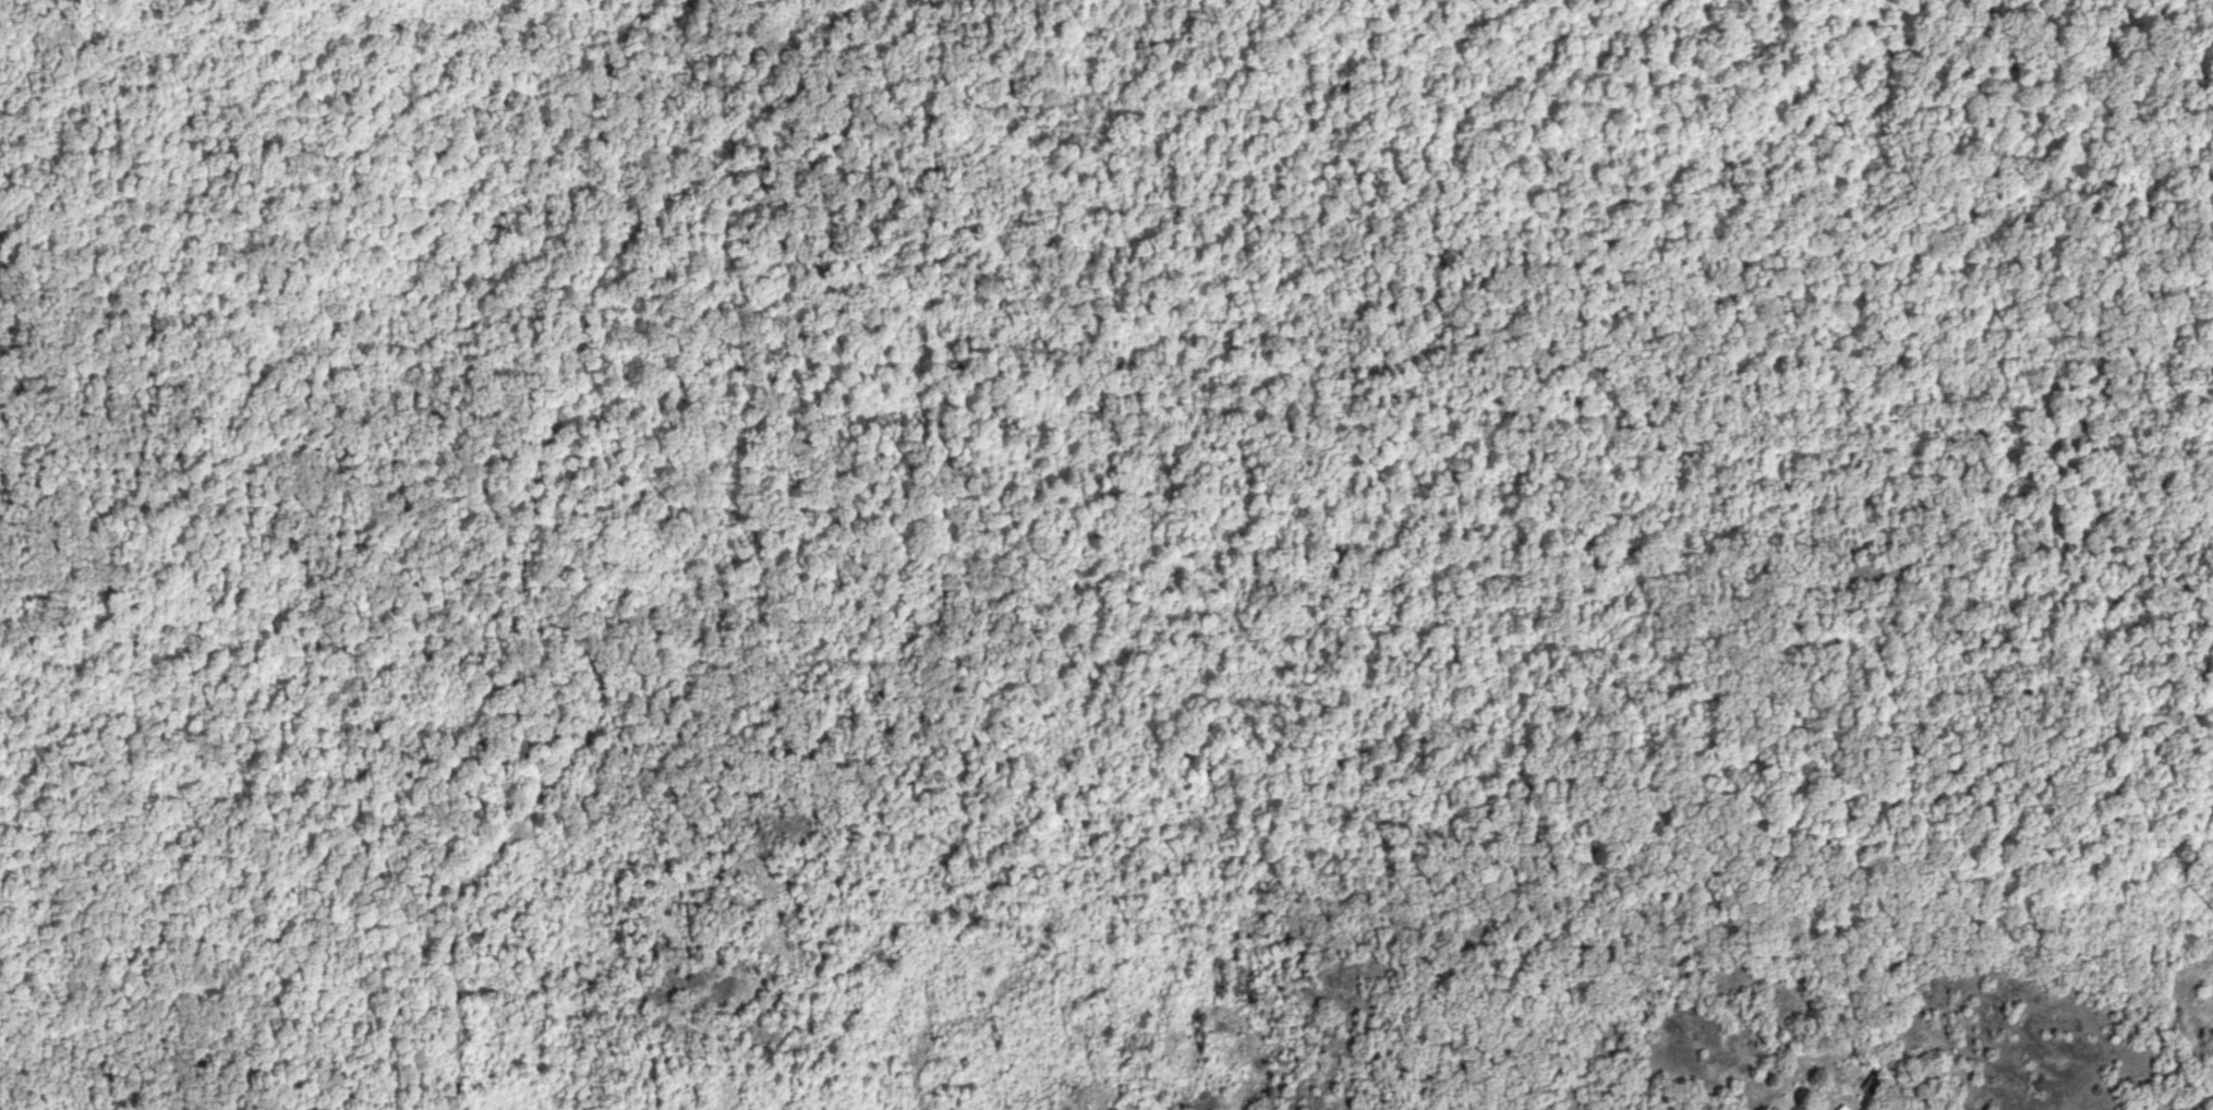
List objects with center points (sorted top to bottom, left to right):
building: (1841, 1108)

